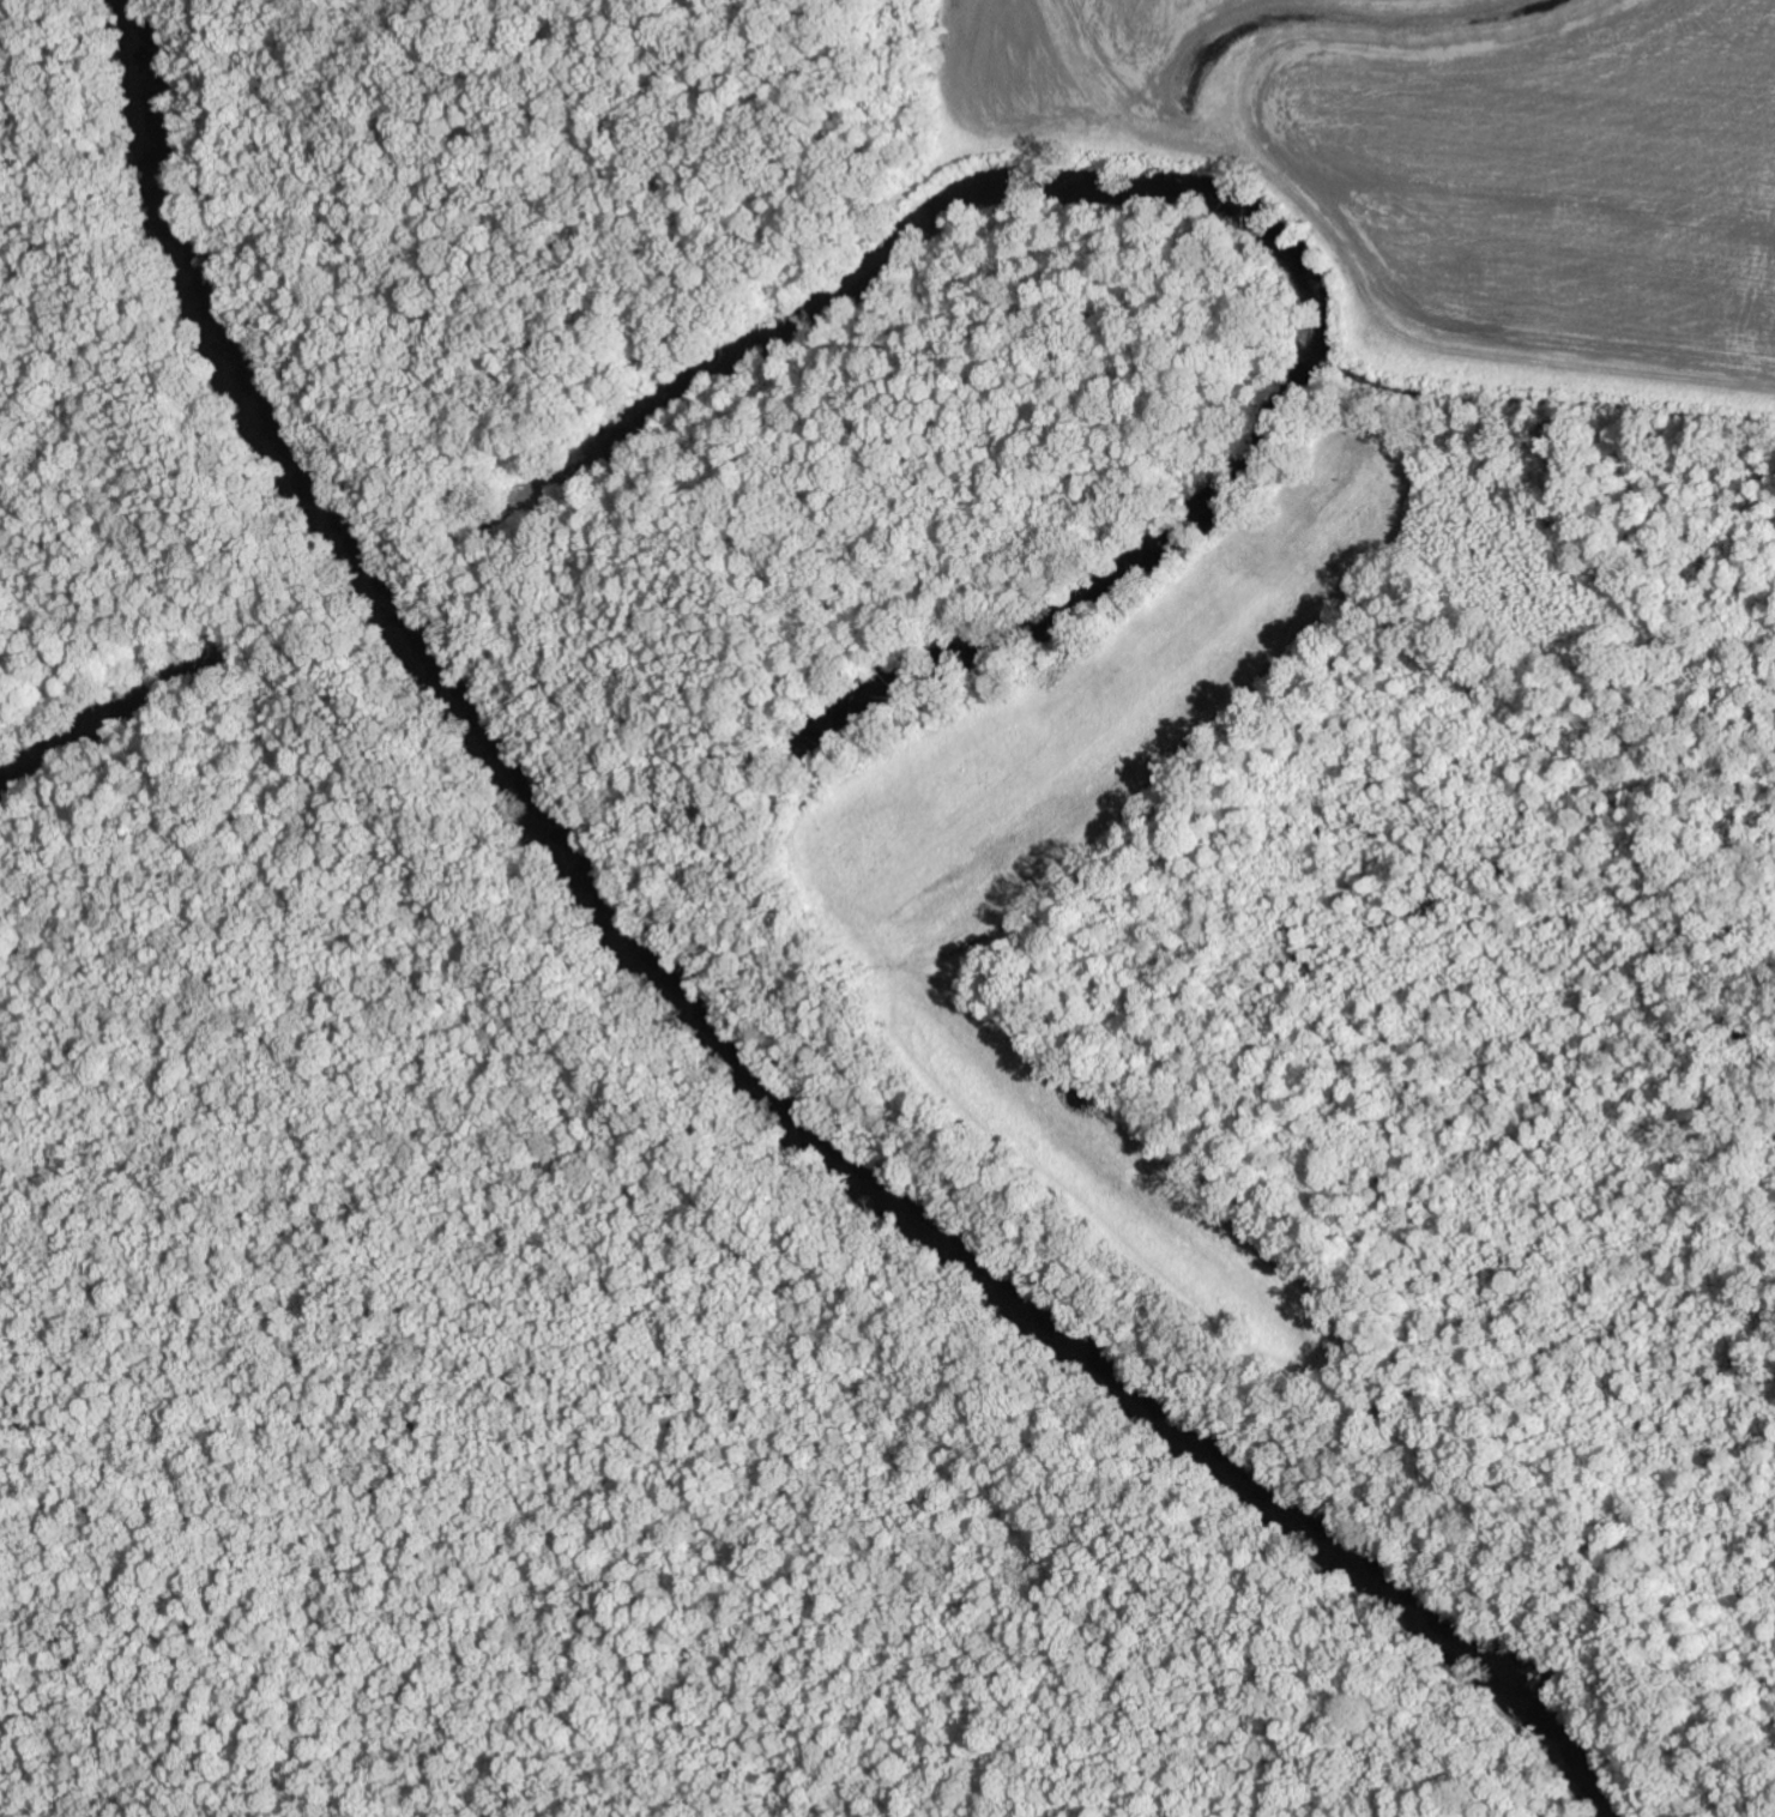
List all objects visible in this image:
river: (713, 1030)

